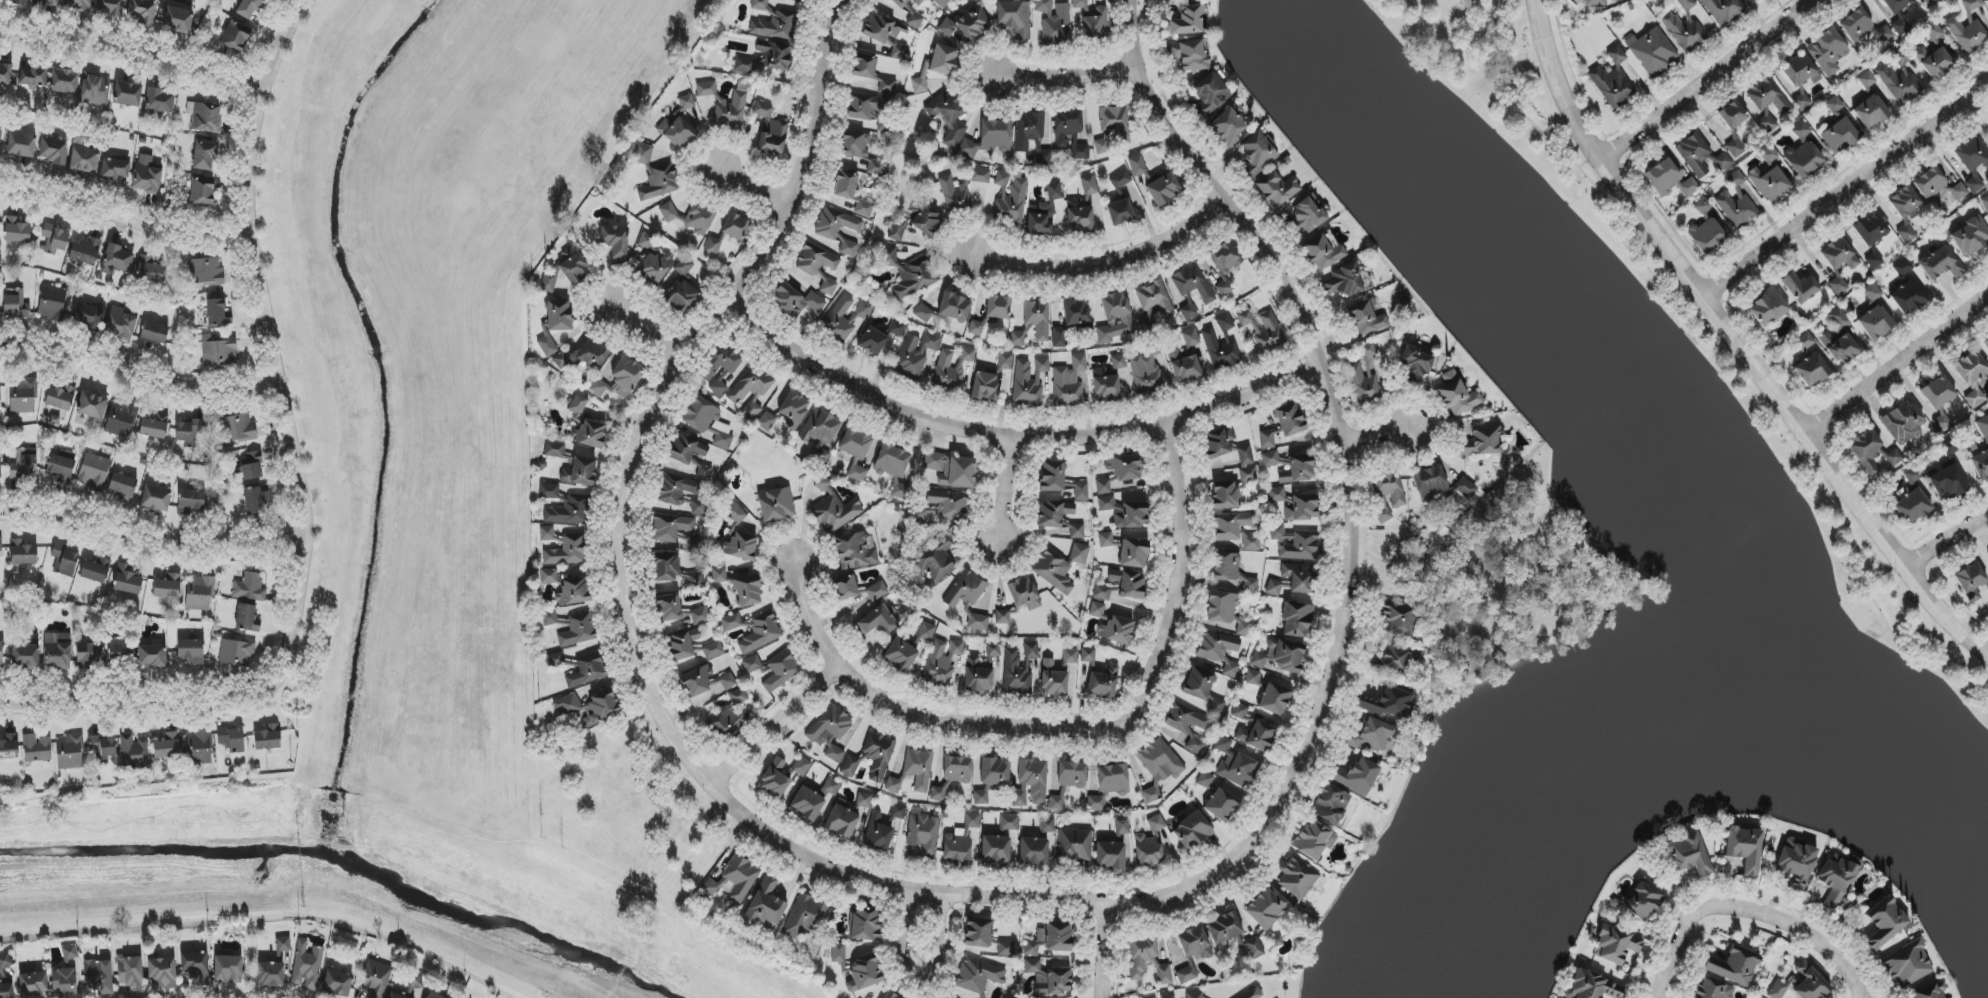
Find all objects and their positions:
building: (1191, 0)
building: (1753, 0)
building: (13, 1)
building: (798, 1)
building: (1927, 1)
building: (918, 2)
building: (45, 3)
building: (900, 3)
building: (942, 3)
building: (1594, 3)
building: (78, 5)
building: (759, 5)
building: (1896, 5)
building: (1080, 6)
building: (251, 7)
building: (110, 8)
building: (142, 11)
building: (1724, 11)
building: (178, 20)
building: (1015, 20)
building: (916, 22)
building: (1054, 22)
building: (1186, 22)
building: (973, 23)
building: (776, 25)
building: (1096, 25)
building: (1684, 25)
building: (1856, 25)
building: (1969, 27)
building: (947, 28)
building: (880, 29)
building: (1933, 31)
building: (1883, 34)
building: (235, 37)
road: (133, 51)
building: (1652, 51)
building: (1827, 51)
building: (898, 52)
building: (1189, 55)
building: (766, 57)
building: (1933, 62)
building: (864, 65)
building: (937, 66)
building: (1797, 70)
building: (5, 75)
building: (32, 76)
road: (1067, 76)
building: (1613, 80)
road: (1706, 80)
building: (1867, 80)
building: (64, 81)
building: (1899, 83)
building: (887, 86)
building: (95, 91)
building: (127, 94)
building: (1210, 94)
building: (160, 101)
building: (1767, 102)
building: (1801, 102)
building: (1834, 104)
building: (869, 109)
building: (1870, 112)
building: (1732, 115)
building: (204, 117)
building: (948, 118)
building: (698, 126)
building: (1227, 128)
building: (1028, 129)
building: (1113, 129)
building: (770, 131)
building: (1801, 131)
building: (1069, 135)
building: (1840, 136)
building: (989, 138)
building: (21, 145)
building: (855, 145)
building: (1734, 147)
building: (53, 150)
building: (1971, 153)
building: (1256, 154)
building: (205, 155)
building: (1042, 155)
building: (1701, 155)
building: (1769, 155)
building: (1804, 159)
building: (84, 160)
building: (1137, 166)
building: (876, 168)
building: (115, 170)
building: (146, 175)
building: (655, 175)
building: (980, 176)
building: (1002, 179)
building: (1669, 179)
building: (1120, 180)
building: (1770, 184)
building: (1974, 184)
building: (845, 185)
building: (1088, 185)
building: (1938, 187)
road: (753, 189)
building: (1163, 189)
building: (1277, 189)
building: (1054, 191)
building: (202, 192)
road: (1843, 192)
building: (956, 195)
building: (1736, 202)
building: (1012, 204)
building: (1985, 204)
building: (1703, 206)
building: (864, 209)
building: (1905, 211)
building: (1120, 212)
building: (1306, 215)
building: (1079, 217)
road: (123, 218)
building: (692, 218)
building: (1040, 218)
building: (835, 224)
building: (736, 227)
building: (897, 229)
building: (16, 231)
building: (1707, 235)
building: (1970, 236)
building: (1870, 238)
building: (54, 239)
building: (614, 245)
building: (714, 245)
building: (848, 248)
building: (1324, 250)
building: (85, 251)
building: (1839, 255)
building: (816, 259)
building: (1224, 259)
building: (117, 260)
building: (1941, 264)
road: (1101, 265)
building: (1903, 266)
building: (149, 269)
building: (565, 270)
building: (206, 271)
building: (908, 273)
building: (1345, 280)
building: (1838, 286)
building: (828, 287)
building: (1800, 287)
building: (682, 288)
building: (1192, 289)
building: (1224, 289)
building: (1871, 292)
building: (1907, 298)
building: (1155, 299)
building: (795, 301)
building: (52, 303)
building: (16, 304)
building: (954, 307)
building: (1767, 308)
building: (218, 313)
building: (923, 313)
building: (992, 313)
building: (1077, 314)
building: (558, 316)
building: (86, 317)
building: (1114, 318)
building: (1839, 318)
building: (836, 319)
building: (1365, 319)
building: (1875, 322)
building: (121, 323)
building: (1034, 323)
building: (1147, 324)
building: (896, 328)
road: (643, 333)
building: (1269, 334)
building: (153, 335)
building: (1059, 338)
building: (872, 341)
building: (1805, 341)
building: (1986, 341)
road: (272, 343)
building: (1221, 344)
road: (1734, 344)
building: (547, 346)
building: (1840, 348)
building: (218, 351)
building: (915, 353)
building: (592, 355)
building: (721, 361)
building: (1005, 361)
building: (1118, 361)
building: (1416, 362)
road: (1896, 366)
building: (951, 369)
building: (1811, 370)
building: (1146, 372)
building: (1364, 376)
building: (1972, 377)
road: (139, 379)
building: (620, 379)
building: (1029, 381)
building: (1069, 382)
building: (721, 384)
building: (1110, 384)
building: (985, 387)
building: (751, 391)
building: (1457, 394)
building: (23, 397)
building: (60, 398)
building: (92, 405)
building: (577, 405)
building: (793, 410)
building: (769, 419)
building: (120, 420)
building: (1290, 420)
building: (707, 421)
building: (1902, 423)
building: (153, 426)
building: (1983, 426)
building: (821, 427)
building: (238, 429)
building: (186, 433)
building: (590, 434)
road: (1378, 437)
building: (1267, 440)
building: (1482, 441)
building: (856, 443)
road: (1007, 443)
building: (1227, 447)
building: (685, 449)
building: (554, 450)
building: (1873, 452)
building: (1271, 459)
building: (892, 461)
building: (24, 464)
building: (60, 465)
building: (1980, 465)
building: (251, 467)
building: (1124, 467)
building: (1298, 469)
building: (952, 470)
building: (94, 471)
building: (579, 472)
building: (704, 473)
building: (857, 473)
building: (1248, 474)
building: (1912, 475)
building: (1052, 476)
building: (1430, 482)
road: (1345, 483)
building: (1947, 483)
building: (1104, 486)
building: (122, 487)
building: (1390, 488)
building: (1464, 488)
building: (676, 489)
building: (900, 490)
building: (549, 491)
road: (1008, 491)
building: (1081, 492)
building: (1225, 496)
building: (156, 498)
building: (255, 500)
building: (190, 501)
building: (776, 504)
building: (1294, 505)
building: (1911, 505)
building: (698, 507)
building: (943, 508)
building: (834, 510)
building: (569, 511)
building: (1125, 512)
building: (735, 513)
building: (1053, 513)
building: (1383, 513)
building: (670, 527)
building: (1237, 529)
road: (1363, 529)
building: (1077, 531)
building: (1279, 533)
building: (548, 535)
road: (151, 540)
building: (1105, 540)
road: (1944, 540)
building: (693, 543)
building: (741, 547)
building: (1300, 547)
building: (568, 551)
building: (855, 551)
building: (1133, 553)
building: (1987, 553)
building: (23, 554)
building: (935, 558)
building: (64, 560)
road: (1392, 561)
building: (1226, 566)
building: (1060, 567)
building: (667, 568)
building: (0, 569)
building: (96, 570)
building: (719, 575)
building: (549, 576)
building: (1293, 579)
building: (127, 580)
building: (695, 580)
park: (1498, 581)
building: (1129, 583)
building: (1251, 585)
building: (167, 587)
building: (845, 587)
building: (250, 588)
building: (966, 590)
road: (620, 591)
building: (748, 591)
building: (877, 591)
building: (1103, 591)
building: (573, 592)
building: (199, 593)
building: (1024, 593)
building: (669, 607)
building: (1222, 607)
building: (699, 615)
building: (1002, 617)
building: (246, 618)
building: (549, 618)
building: (1296, 620)
building: (878, 621)
building: (1398, 621)
building: (731, 622)
road: (815, 622)
building: (977, 622)
building: (1112, 625)
building: (578, 630)
building: (926, 632)
building: (761, 633)
building: (682, 644)
building: (57, 650)
building: (713, 650)
building: (993, 650)
building: (191, 651)
building: (1219, 651)
building: (120, 652)
building: (236, 652)
building: (88, 654)
building: (1, 655)
building: (900, 655)
building: (1088, 655)
building: (1281, 655)
building: (25, 656)
building: (152, 656)
building: (1070, 656)
building: (1399, 661)
building: (940, 663)
building: (754, 667)
building: (1019, 669)
building: (586, 670)
building: (1065, 670)
building: (781, 671)
building: (977, 676)
building: (1252, 677)
building: (1053, 680)
building: (697, 681)
building: (728, 681)
building: (1103, 683)
building: (1198, 684)
building: (1274, 698)
road: (132, 701)
building: (1387, 702)
building: (588, 708)
building: (1215, 708)
building: (1240, 712)
building: (730, 716)
road: (1128, 717)
building: (1188, 725)
building: (829, 726)
road: (776, 731)
building: (1257, 735)
building: (1375, 736)
building: (268, 738)
building: (232, 739)
building: (102, 746)
building: (167, 746)
building: (9, 747)
building: (36, 748)
building: (199, 748)
building: (133, 749)
building: (69, 752)
building: (834, 753)
building: (871, 758)
building: (1235, 764)
building: (802, 766)
building: (1158, 767)
building: (918, 768)
building: (1071, 774)
building: (952, 776)
building: (1357, 776)
building: (775, 779)
building: (992, 779)
building: (1205, 780)
building: (1031, 781)
building: (832, 786)
building: (1109, 786)
building: (864, 800)
building: (1057, 801)
building: (807, 804)
building: (1222, 805)
building: (1331, 805)
building: (898, 812)
building: (841, 822)
building: (1009, 823)
building: (1047, 825)
building: (1121, 827)
building: (1191, 830)
building: (879, 832)
building: (924, 834)
building: (962, 840)
building: (1314, 840)
building: (1152, 843)
building: (1074, 846)
building: (1744, 848)
building: (995, 849)
building: (1033, 852)
building: (1688, 854)
building: (1109, 856)
building: (1796, 862)
building: (1297, 876)
building: (740, 878)
building: (1836, 880)
building: (716, 887)
building: (1644, 900)
building: (766, 905)
building: (1266, 907)
road: (277, 912)
building: (807, 918)
building: (865, 923)
building: (1885, 923)
building: (1223, 928)
road: (1794, 929)
building: (978, 933)
building: (1050, 938)
building: (1194, 943)
building: (283, 945)
building: (1615, 945)
building: (1254, 948)
building: (1006, 949)
road: (1103, 950)
road: (1672, 952)
building: (837, 953)
road: (251, 955)
building: (1147, 960)
building: (1907, 964)
building: (307, 965)
building: (1734, 966)
building: (195, 967)
building: (228, 968)
building: (130, 972)
building: (865, 972)
building: (162, 973)
building: (271, 974)
building: (978, 975)
building: (1186, 975)
building: (99, 976)
road: (915, 976)
building: (375, 977)
building: (1048, 979)
building: (64, 982)
building: (337, 982)
building: (33, 985)
building: (409, 987)
building: (1593, 987)
building: (1713, 989)
building: (1930, 991)
building: (1254, 994)
building: (434, 995)
building: (890, 995)
building: (1194, 995)
building: (1168, 996)

